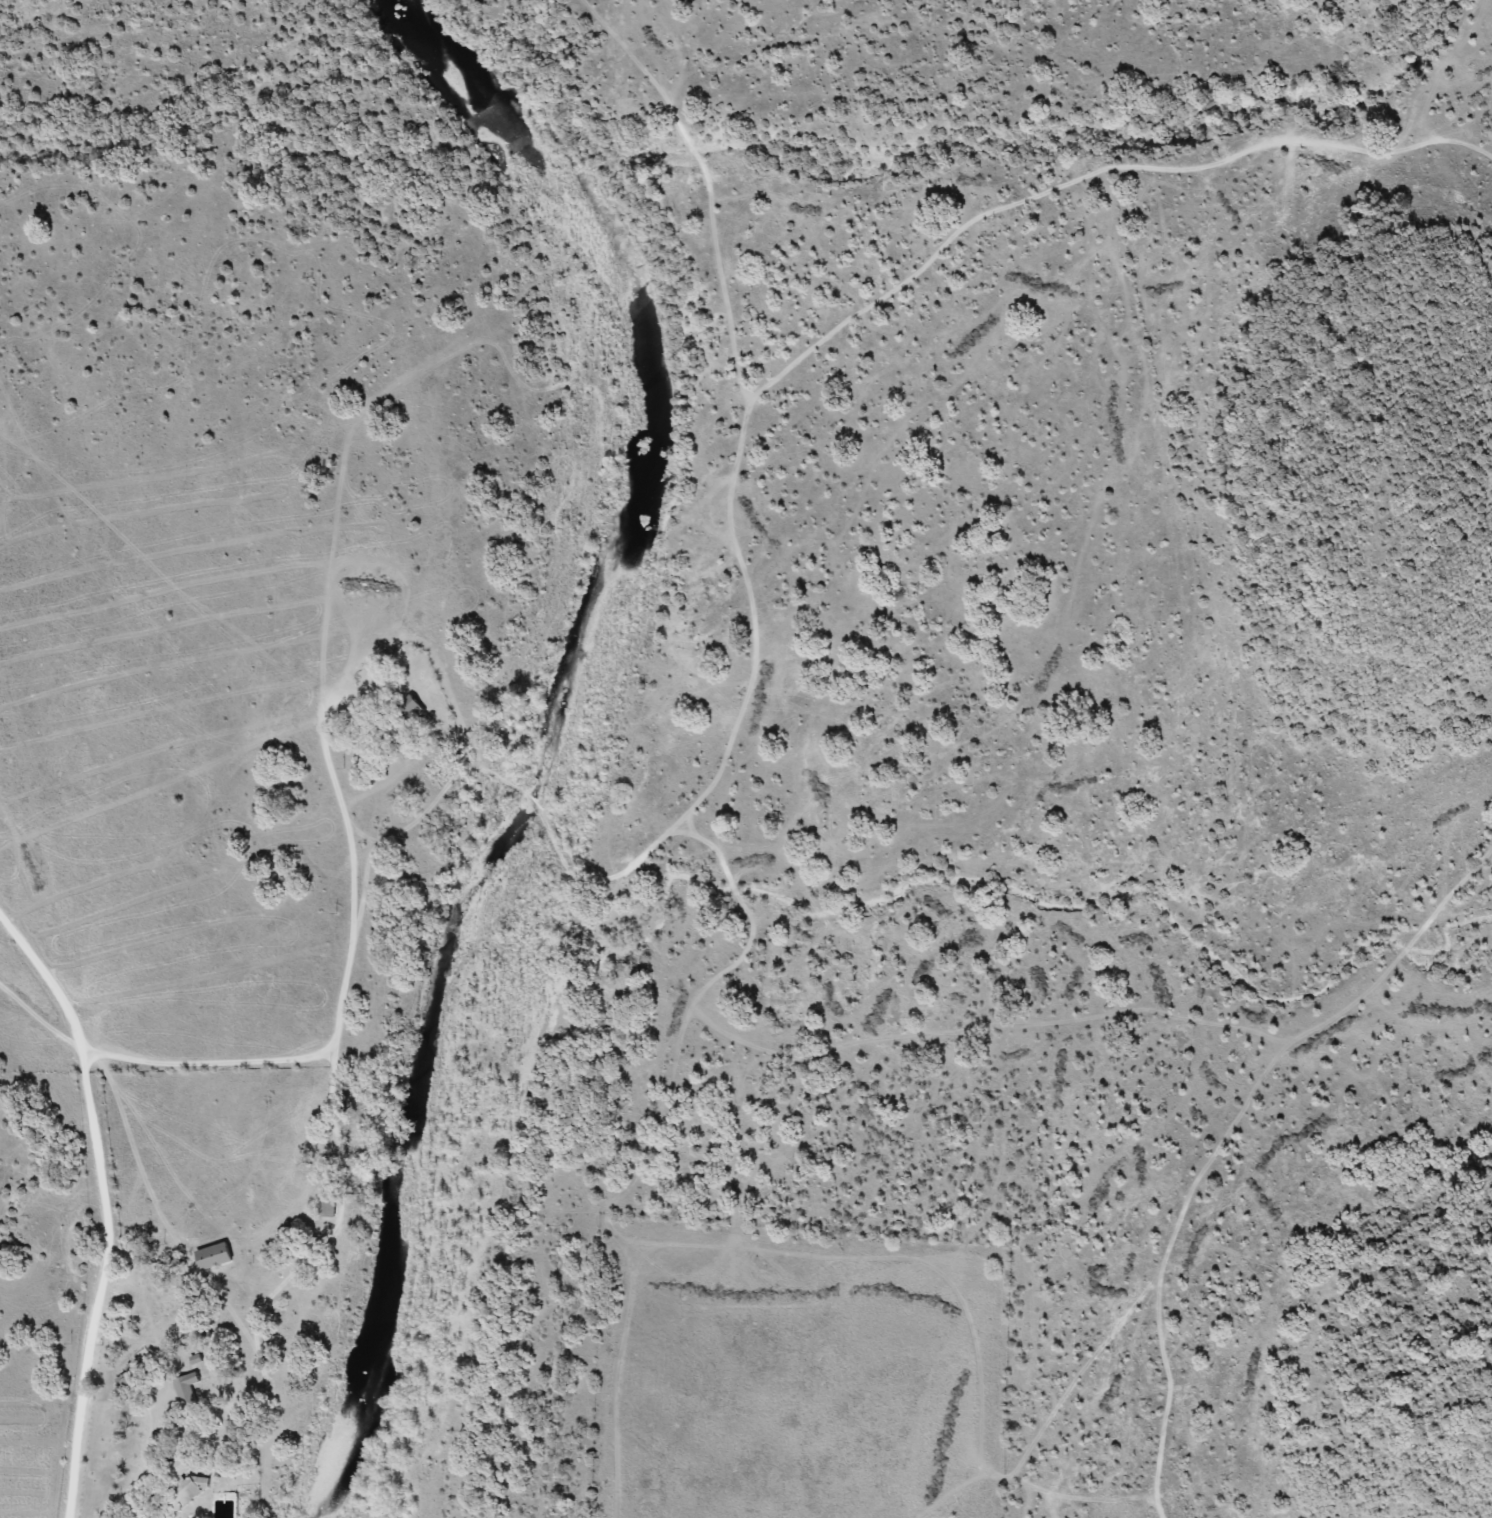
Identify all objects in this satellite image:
road: (741, 437)
building: (415, 706)
river: (552, 717)
road: (338, 1010)
road: (45, 1017)
road: (112, 1195)
building: (328, 1203)
building: (214, 1255)
building: (186, 1388)
building: (181, 1466)

